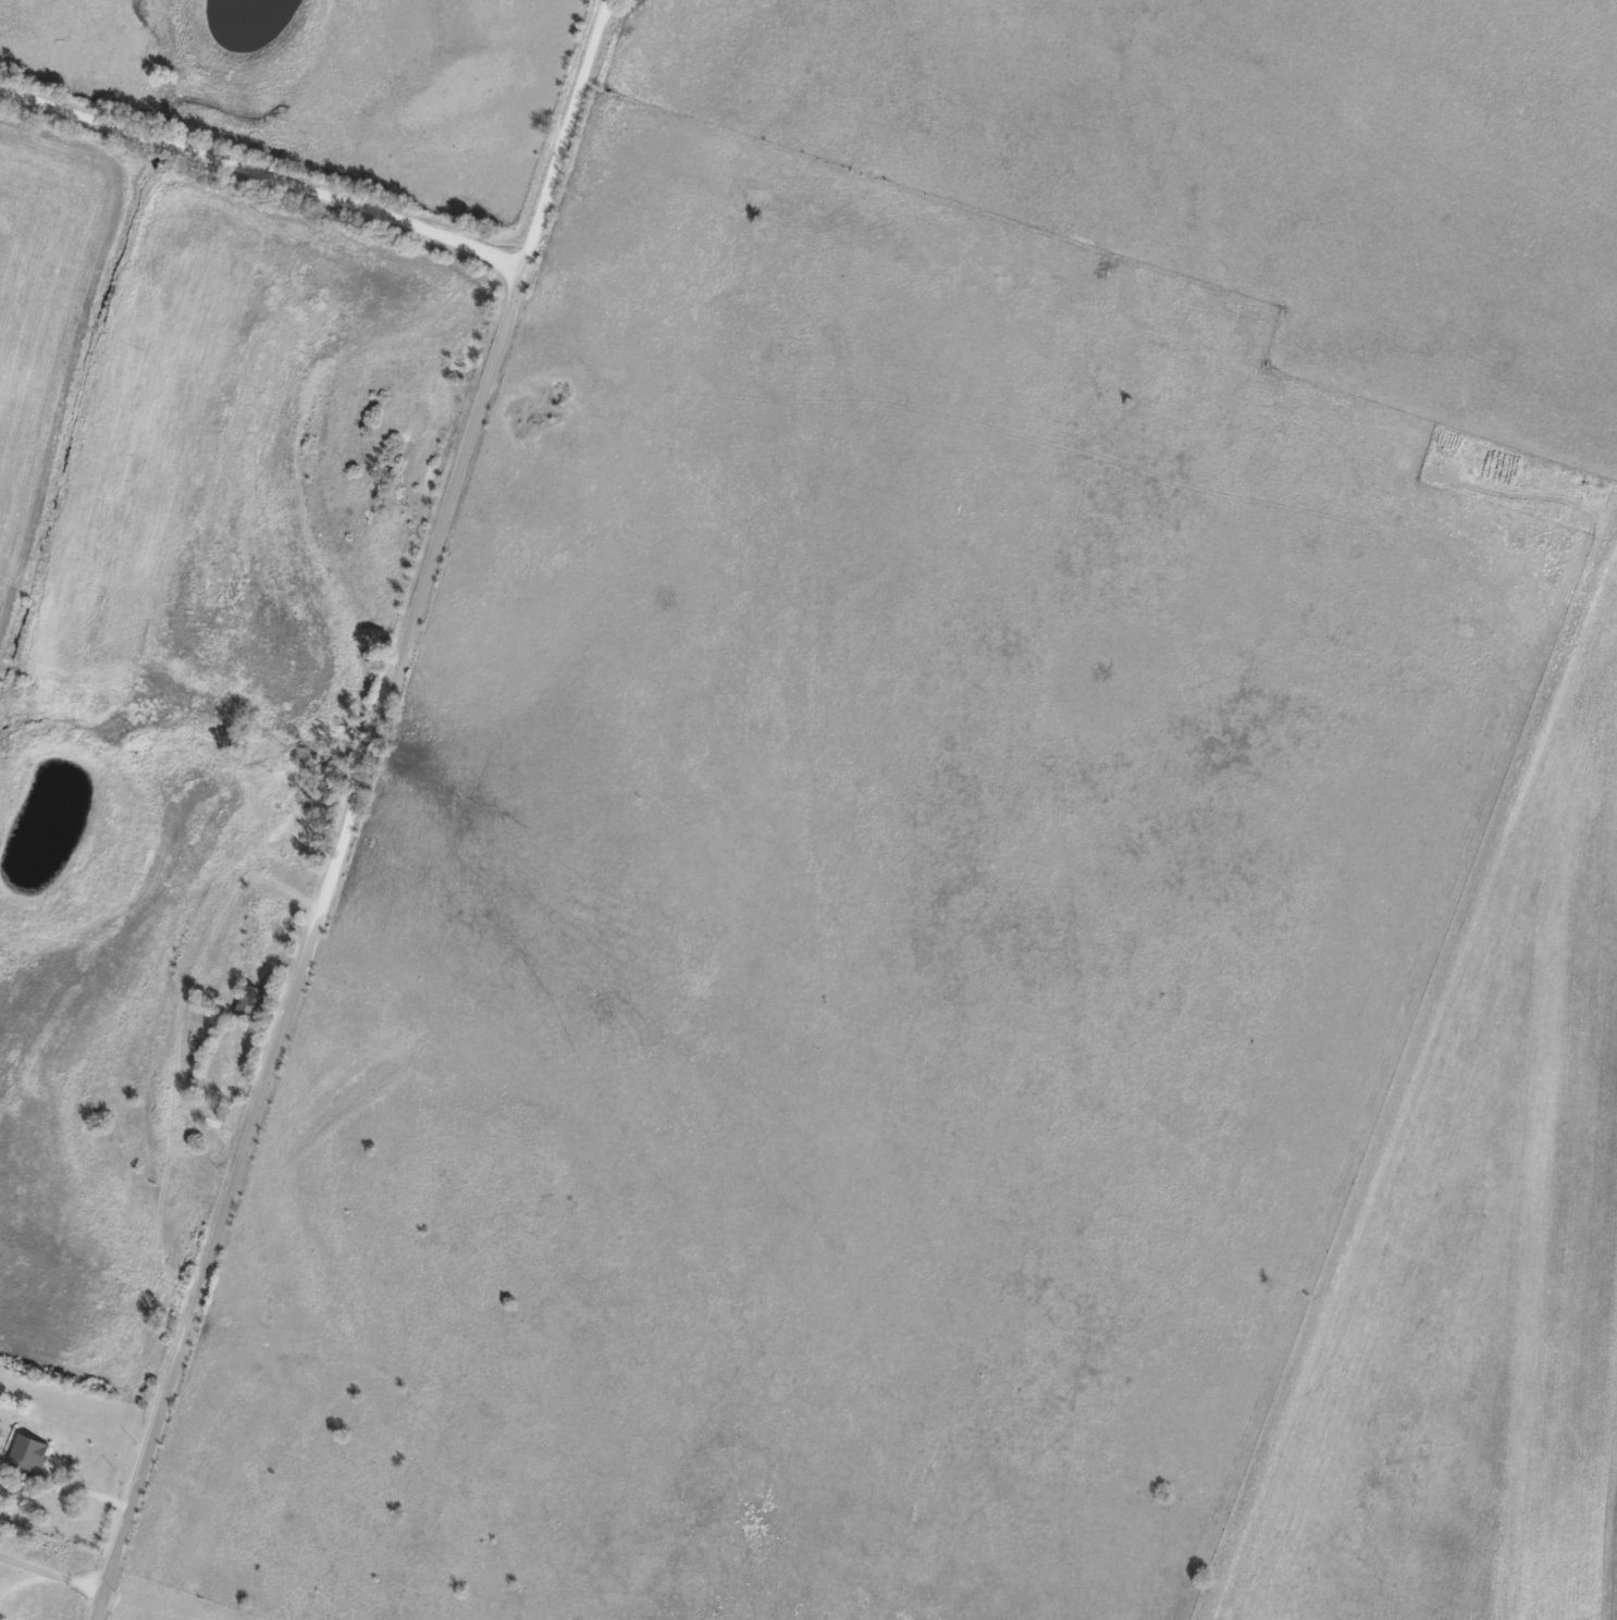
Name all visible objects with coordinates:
road: (261, 172)
road: (355, 808)
building: (251, 1002)
building: (25, 1455)

